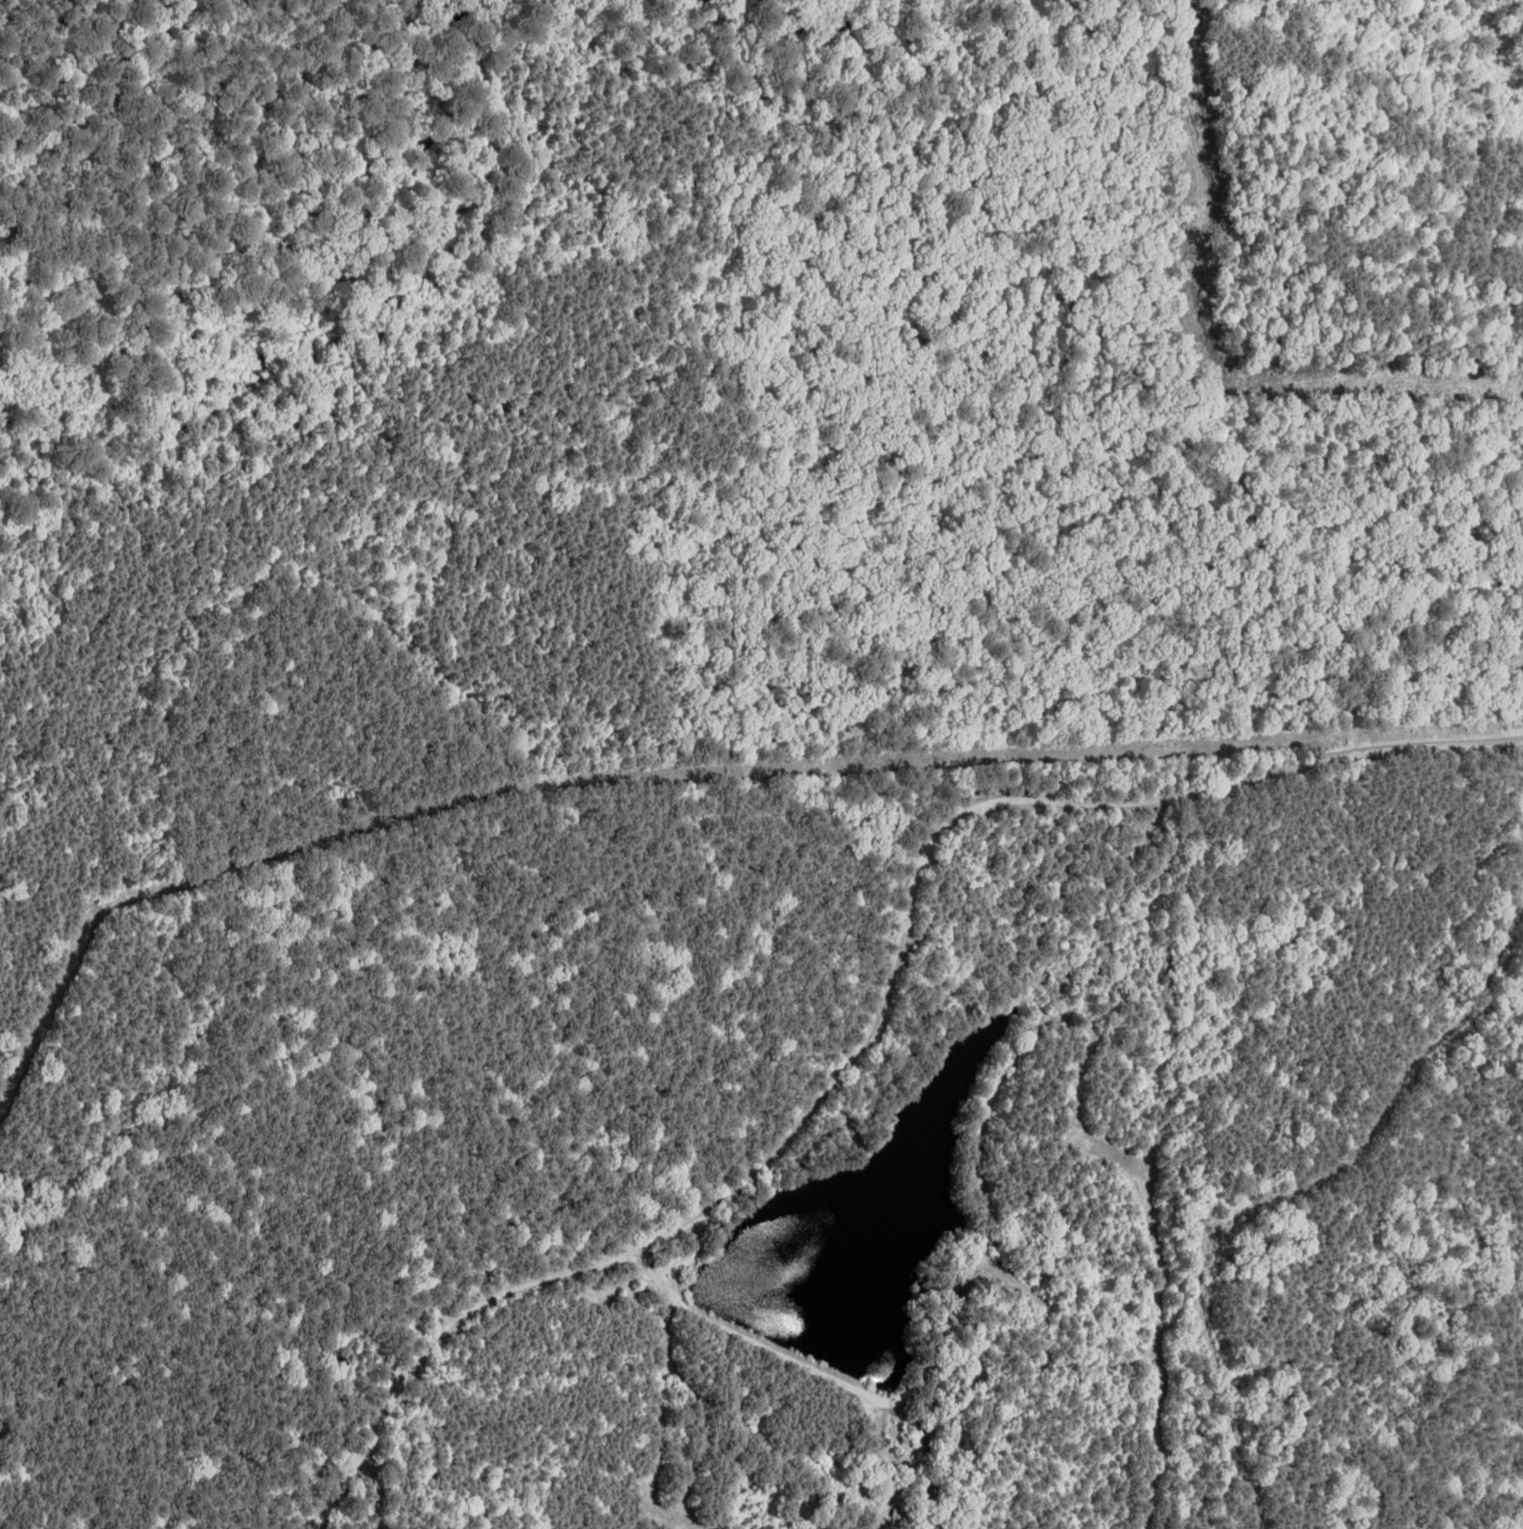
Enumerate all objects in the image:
road: (912, 1040)

